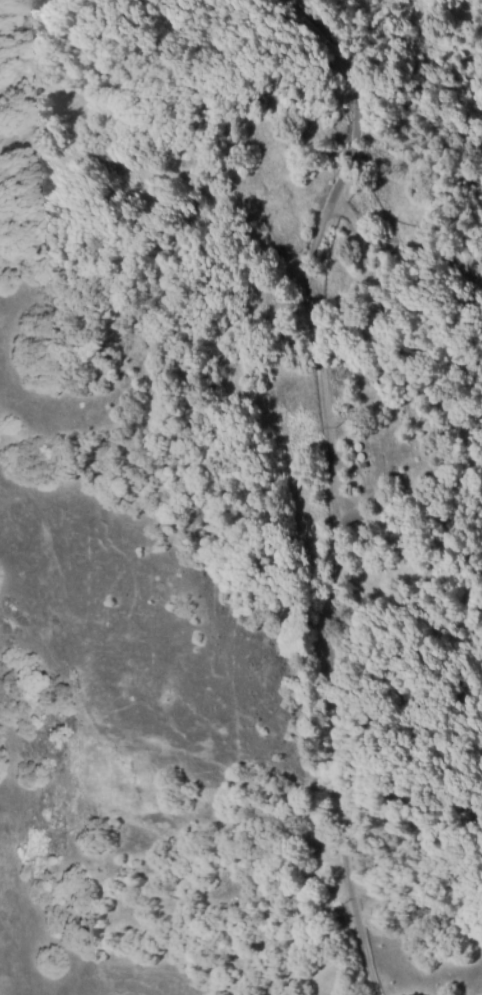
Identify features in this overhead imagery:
road: (310, 246)
road: (404, 251)
road: (327, 759)

